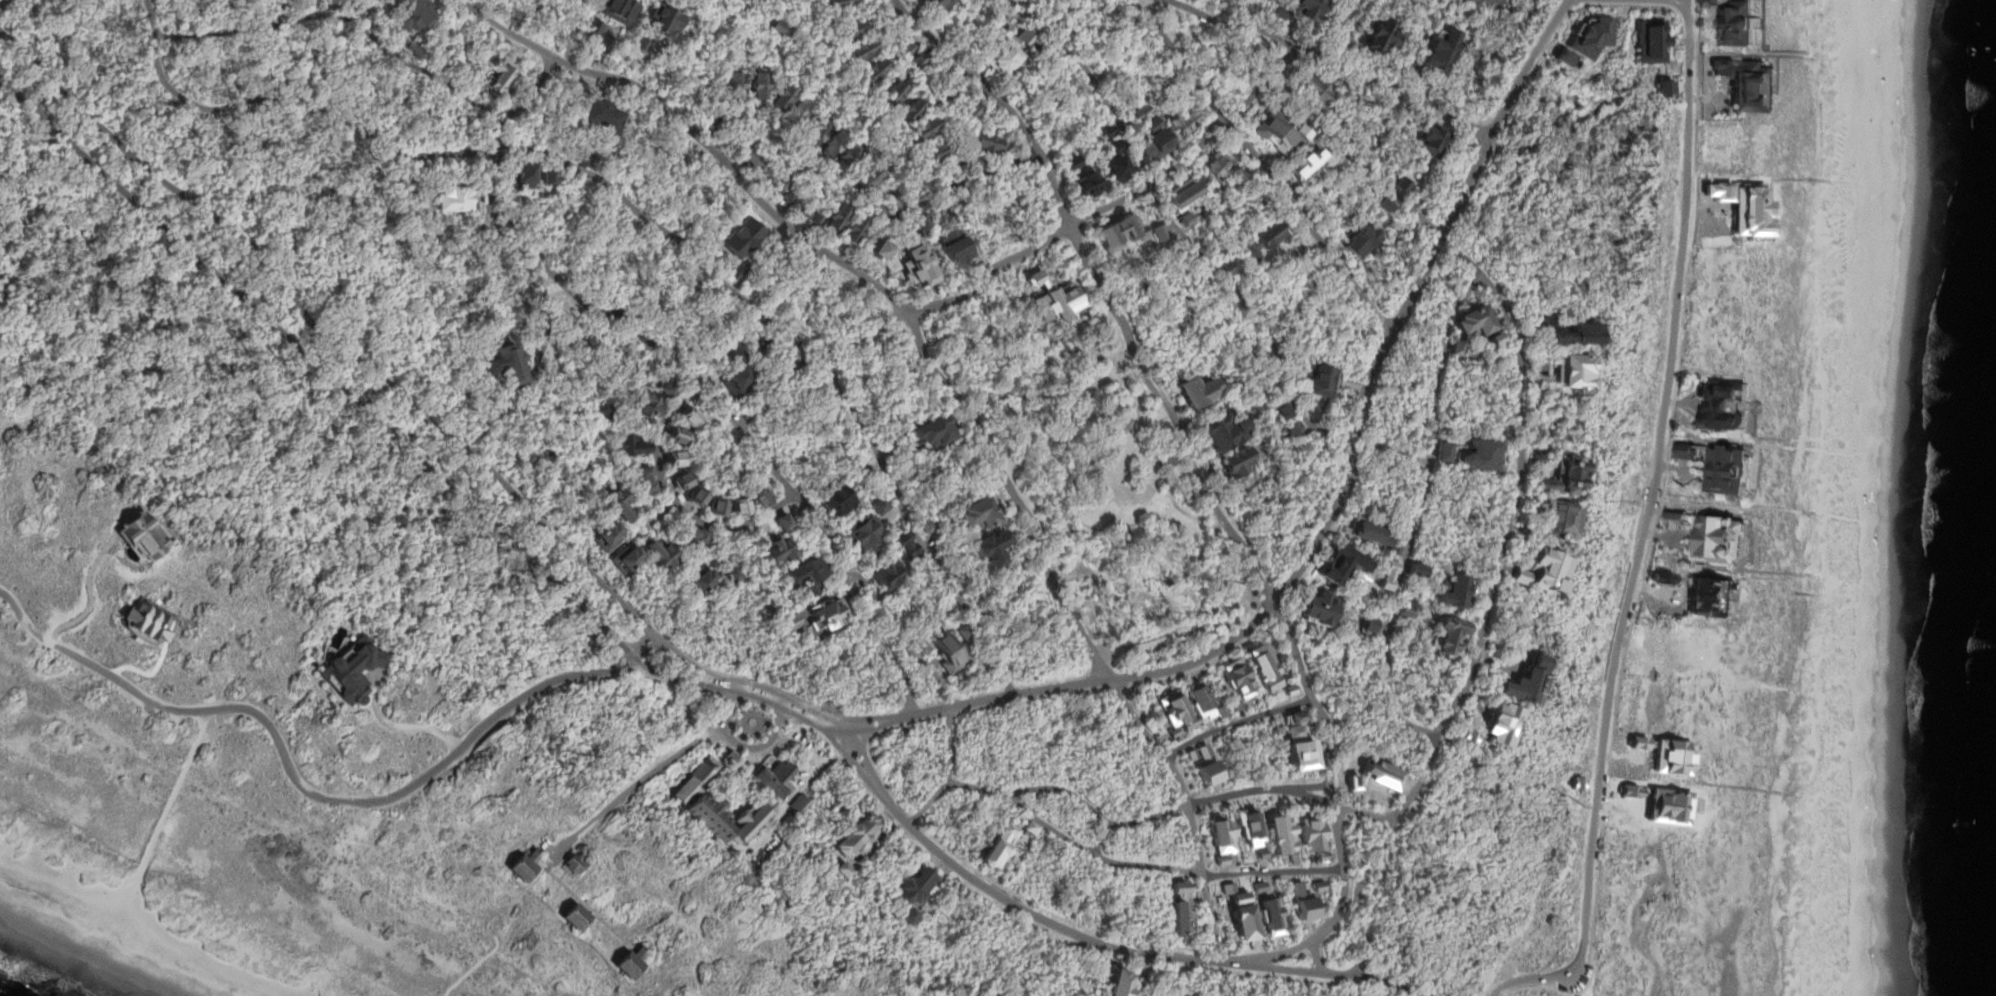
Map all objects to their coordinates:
building: (375, 1)
building: (378, 1)
road: (2, 2)
building: (837, 3)
building: (868, 5)
building: (938, 5)
building: (1298, 10)
building: (412, 15)
building: (1728, 19)
building: (886, 23)
building: (780, 29)
building: (850, 29)
building: (896, 36)
building: (1592, 36)
building: (1023, 37)
building: (1379, 38)
building: (1652, 42)
building: (414, 47)
building: (907, 48)
building: (1438, 48)
building: (861, 49)
building: (1004, 58)
building: (1563, 58)
building: (918, 59)
road: (1330, 63)
building: (1391, 67)
building: (872, 72)
building: (498, 75)
building: (735, 81)
building: (759, 85)
building: (1749, 85)
building: (1665, 87)
building: (949, 88)
building: (1313, 88)
building: (892, 93)
building: (784, 96)
building: (971, 110)
building: (796, 112)
building: (909, 112)
building: (1134, 113)
building: (1182, 121)
building: (721, 124)
building: (1148, 124)
building: (924, 129)
building: (1108, 131)
building: (1275, 131)
building: (816, 134)
building: (1429, 140)
building: (738, 141)
building: (989, 142)
building: (1157, 144)
building: (832, 145)
building: (1113, 147)
building: (938, 149)
building: (845, 159)
building: (750, 161)
building: (1070, 162)
building: (1339, 164)
building: (973, 165)
road: (1262, 165)
building: (1303, 165)
building: (1214, 166)
building: (1115, 169)
building: (961, 171)
building: (1705, 171)
building: (1238, 175)
building: (525, 176)
building: (417, 177)
building: (870, 179)
building: (1085, 184)
building: (779, 185)
building: (1400, 185)
building: (789, 195)
building: (451, 199)
building: (895, 203)
road: (941, 204)
building: (1381, 205)
building: (805, 207)
building: (879, 210)
road: (646, 217)
building: (837, 217)
building: (818, 219)
building: (921, 224)
building: (853, 231)
building: (1261, 240)
building: (1360, 240)
building: (954, 244)
road: (1023, 253)
building: (1227, 264)
road: (614, 316)
building: (1475, 321)
building: (1571, 331)
building: (1496, 340)
building: (1458, 349)
building: (506, 362)
building: (736, 382)
road: (1151, 385)
road: (947, 388)
building: (666, 389)
building: (1197, 390)
road: (360, 404)
building: (648, 406)
building: (1723, 408)
building: (1281, 410)
building: (688, 416)
road: (430, 422)
building: (1225, 430)
building: (1291, 430)
building: (932, 432)
building: (676, 436)
building: (889, 443)
building: (630, 446)
building: (1448, 450)
building: (1688, 450)
building: (1486, 456)
building: (674, 459)
building: (1238, 462)
building: (1725, 468)
building: (1564, 474)
building: (643, 479)
building: (680, 481)
road: (1348, 481)
building: (759, 496)
building: (693, 497)
park: (1113, 498)
building: (618, 502)
road: (676, 504)
building: (714, 506)
building: (739, 506)
building: (879, 506)
building: (979, 515)
road: (1422, 515)
building: (1677, 517)
road: (1645, 518)
building: (1567, 521)
building: (782, 522)
building: (928, 526)
building: (862, 531)
building: (692, 535)
building: (1377, 535)
building: (608, 536)
building: (1716, 538)
building: (1128, 539)
building: (930, 541)
building: (906, 545)
building: (777, 549)
building: (660, 554)
building: (626, 559)
road: (1498, 566)
building: (1546, 567)
building: (889, 574)
building: (732, 575)
building: (804, 577)
building: (1662, 577)
building: (699, 578)
building: (1712, 596)
building: (1324, 608)
building: (828, 616)
building: (147, 620)
building: (789, 623)
building: (1373, 627)
building: (967, 632)
building: (1646, 632)
road: (899, 637)
road: (876, 643)
building: (1698, 649)
building: (949, 653)
building: (350, 669)
road: (747, 689)
road: (877, 717)
road: (870, 729)
road: (831, 737)
road: (739, 746)
building: (1666, 753)
building: (730, 757)
road: (950, 774)
building: (696, 780)
building: (774, 780)
road: (636, 785)
road: (310, 793)
road: (1074, 796)
building: (797, 810)
road: (1371, 813)
building: (748, 822)
building: (1032, 827)
building: (857, 834)
road: (1102, 836)
building: (1003, 846)
road: (1342, 848)
road: (1099, 856)
building: (573, 866)
building: (523, 867)
building: (844, 872)
road: (1342, 910)
road: (1362, 911)
building: (574, 917)
road: (1042, 918)
road: (1287, 953)
building: (629, 963)
road: (1293, 970)
road: (1357, 972)
road: (1392, 984)
building: (1122, 985)
road: (1590, 990)

